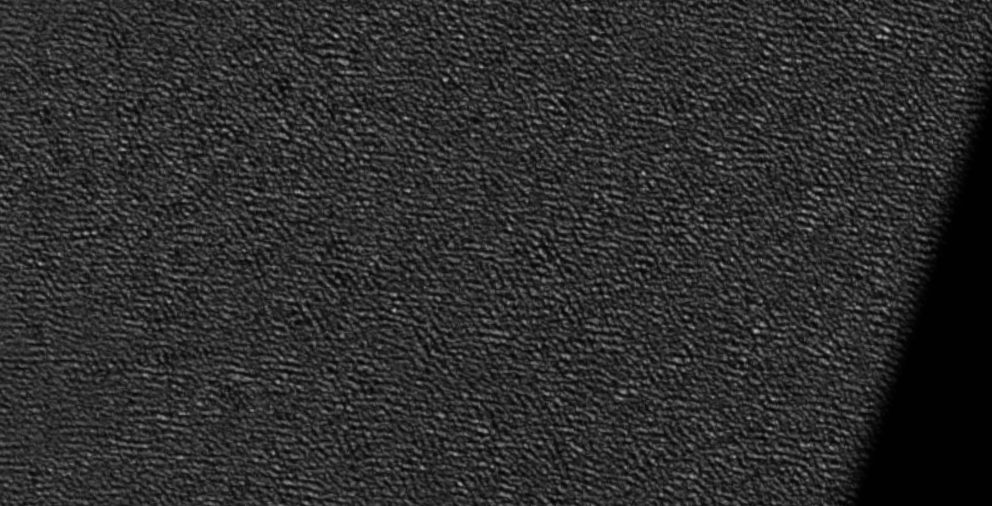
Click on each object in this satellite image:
river: (876, 253)

